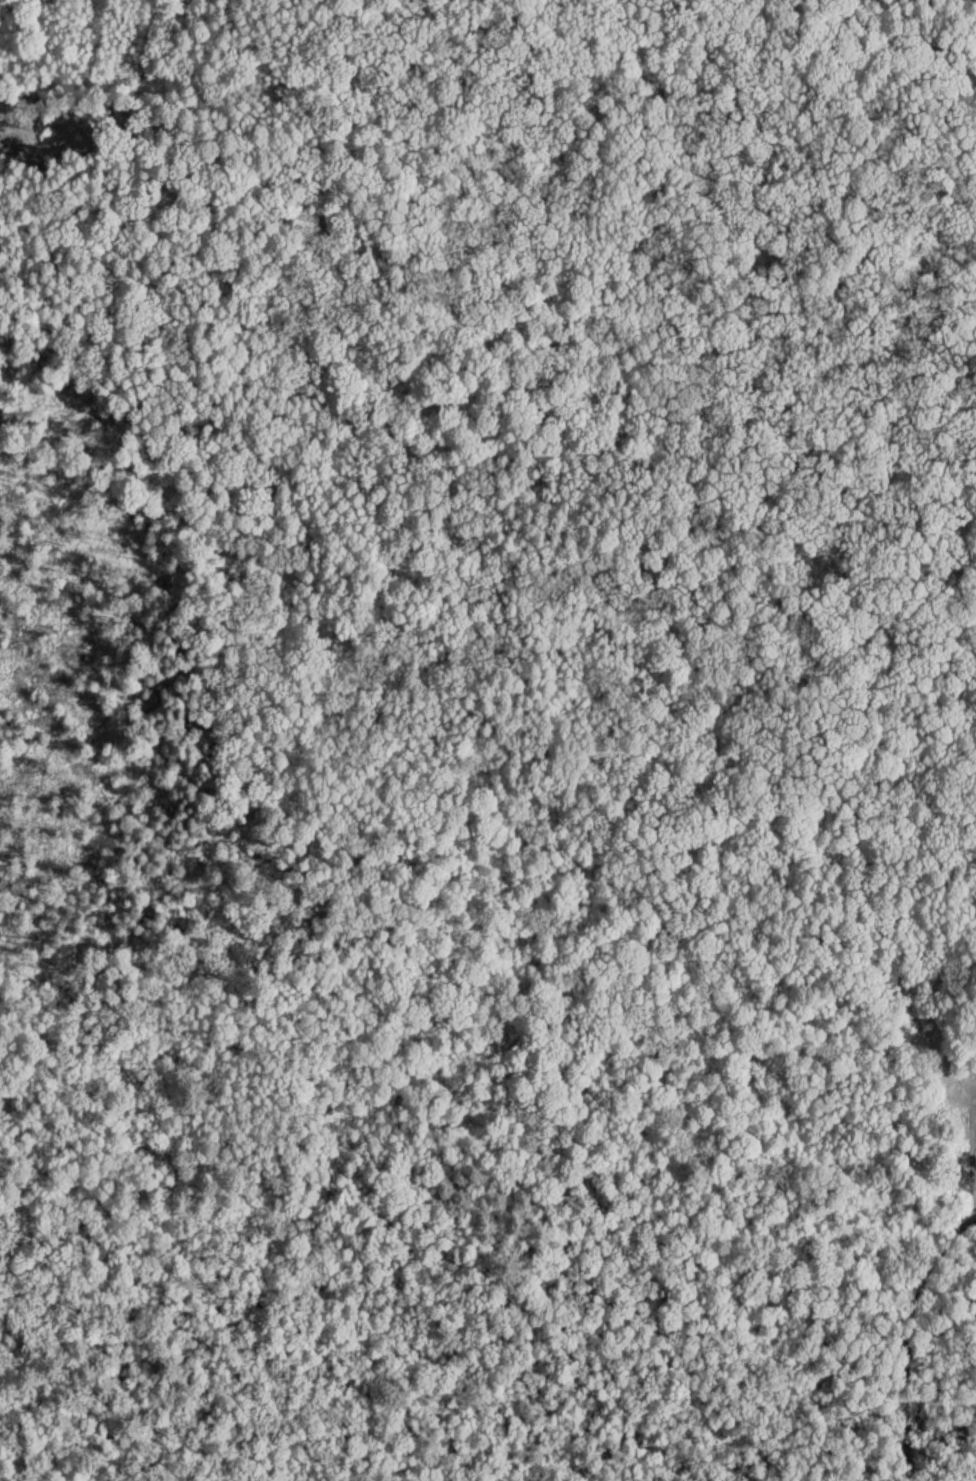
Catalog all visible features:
road: (957, 31)
road: (457, 659)
road: (911, 1342)

